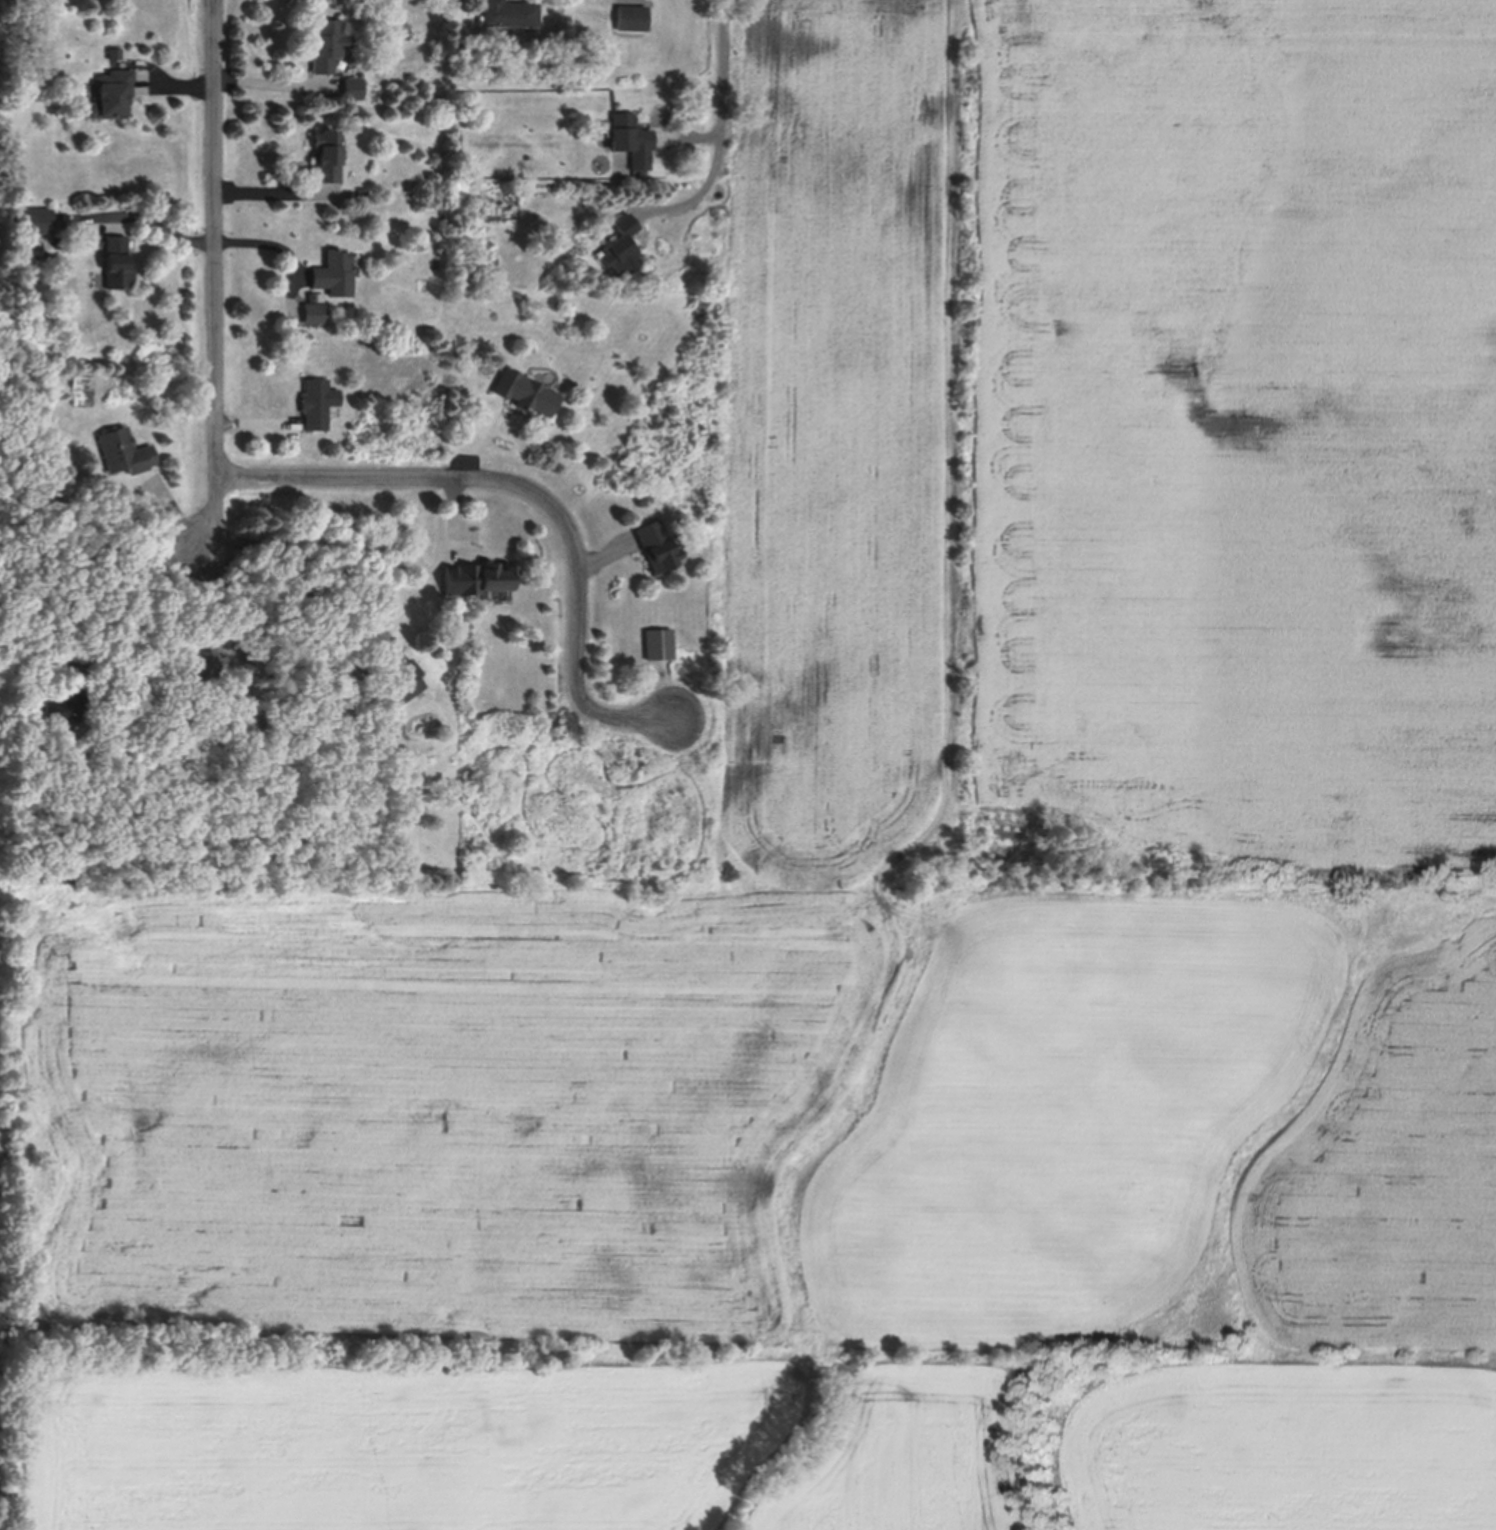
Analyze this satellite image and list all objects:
building: (510, 11)
building: (630, 14)
building: (327, 42)
building: (113, 50)
road: (275, 81)
building: (353, 86)
building: (112, 91)
road: (728, 134)
building: (631, 136)
building: (325, 152)
road: (273, 190)
building: (362, 191)
building: (32, 218)
road: (153, 225)
road: (263, 241)
building: (621, 244)
building: (116, 260)
building: (334, 271)
road: (216, 276)
building: (314, 307)
building: (524, 389)
building: (317, 401)
building: (123, 449)
road: (535, 495)
building: (656, 545)
building: (483, 575)
road: (296, 577)
road: (98, 582)
building: (659, 642)
building: (203, 655)
building: (393, 687)
building: (64, 705)

